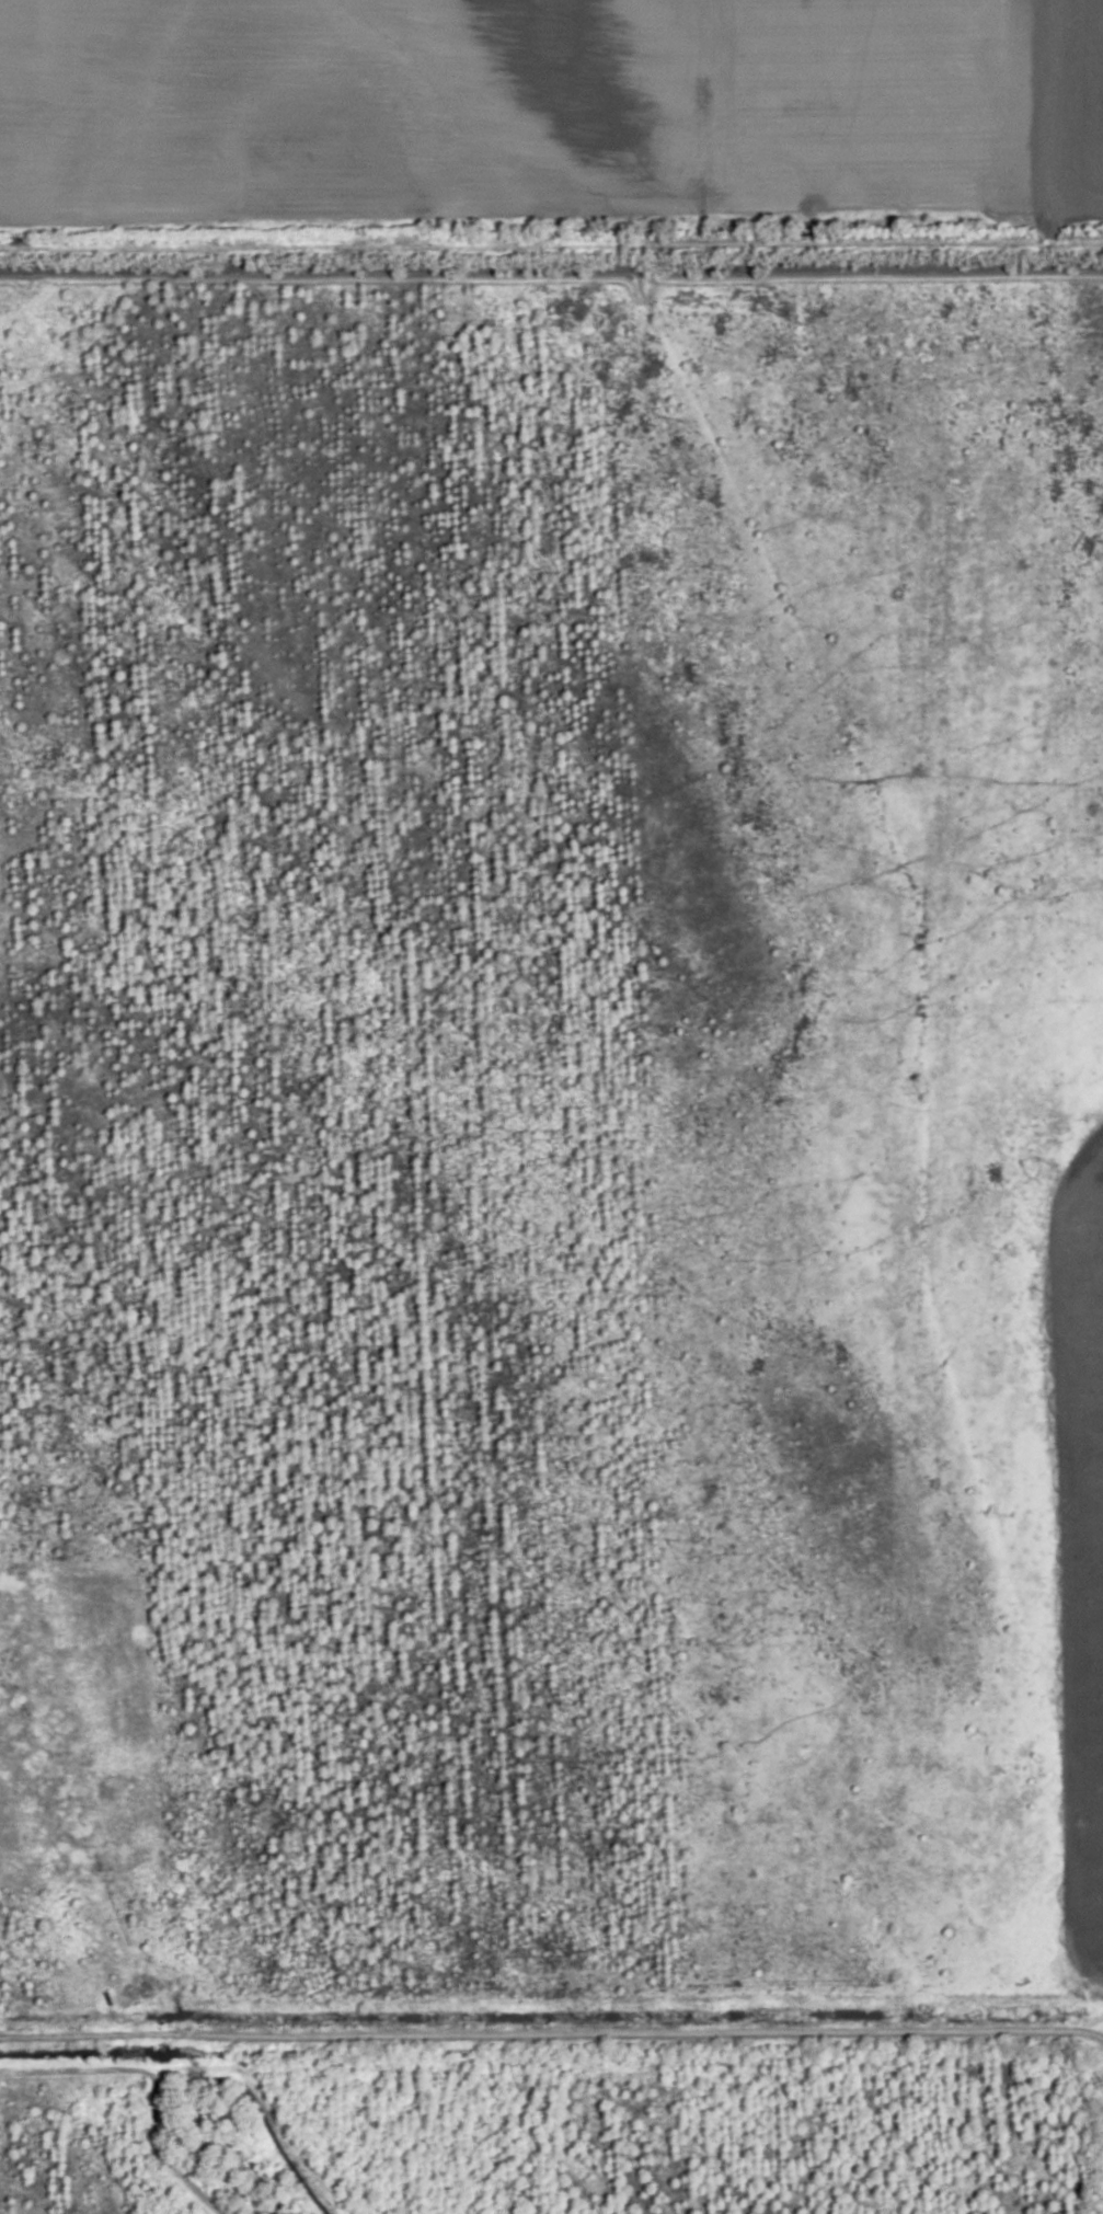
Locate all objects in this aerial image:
road: (551, 2087)

